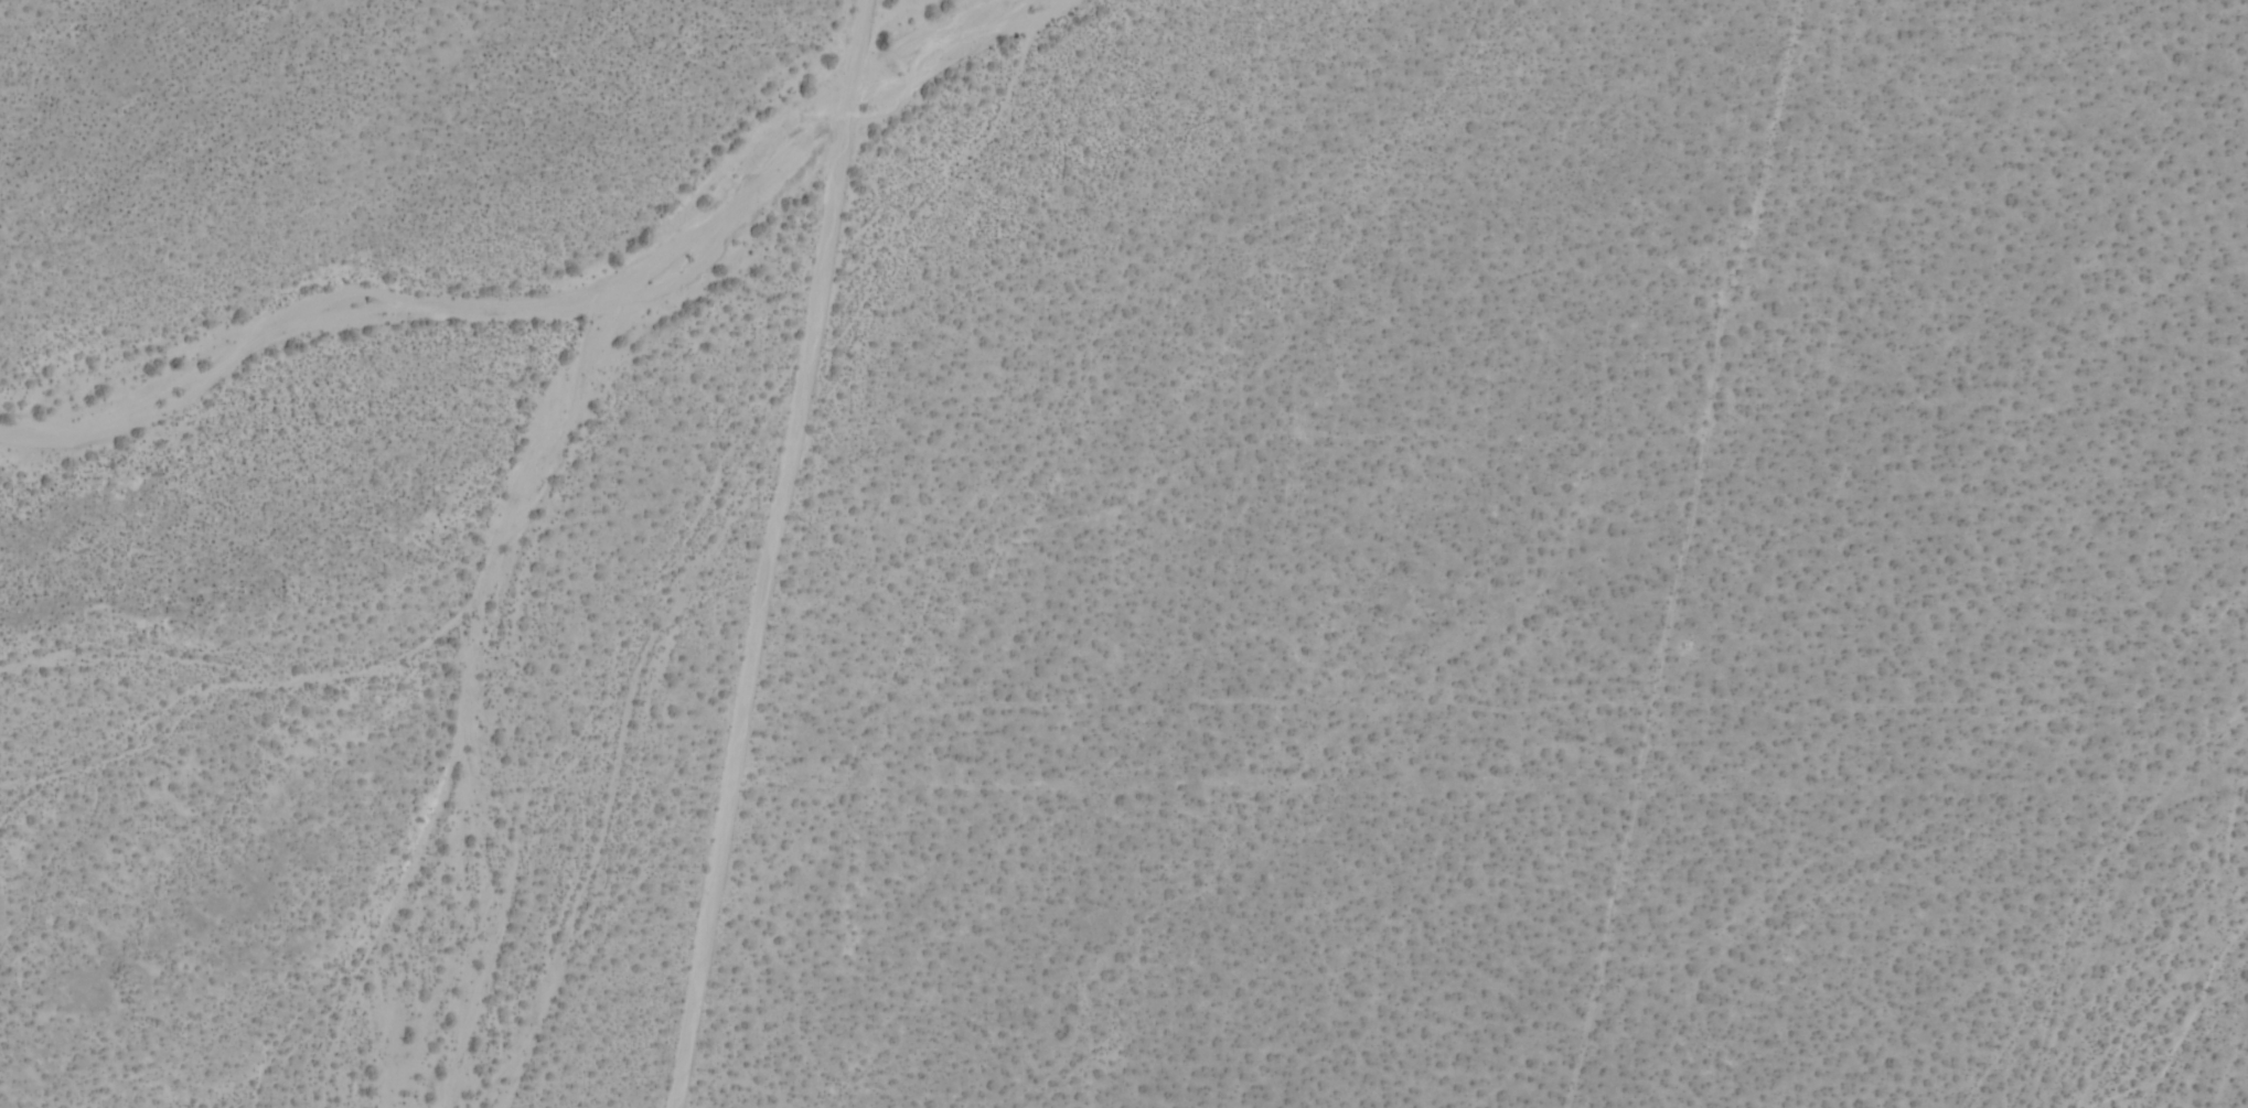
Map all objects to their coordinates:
road: (839, 130)

